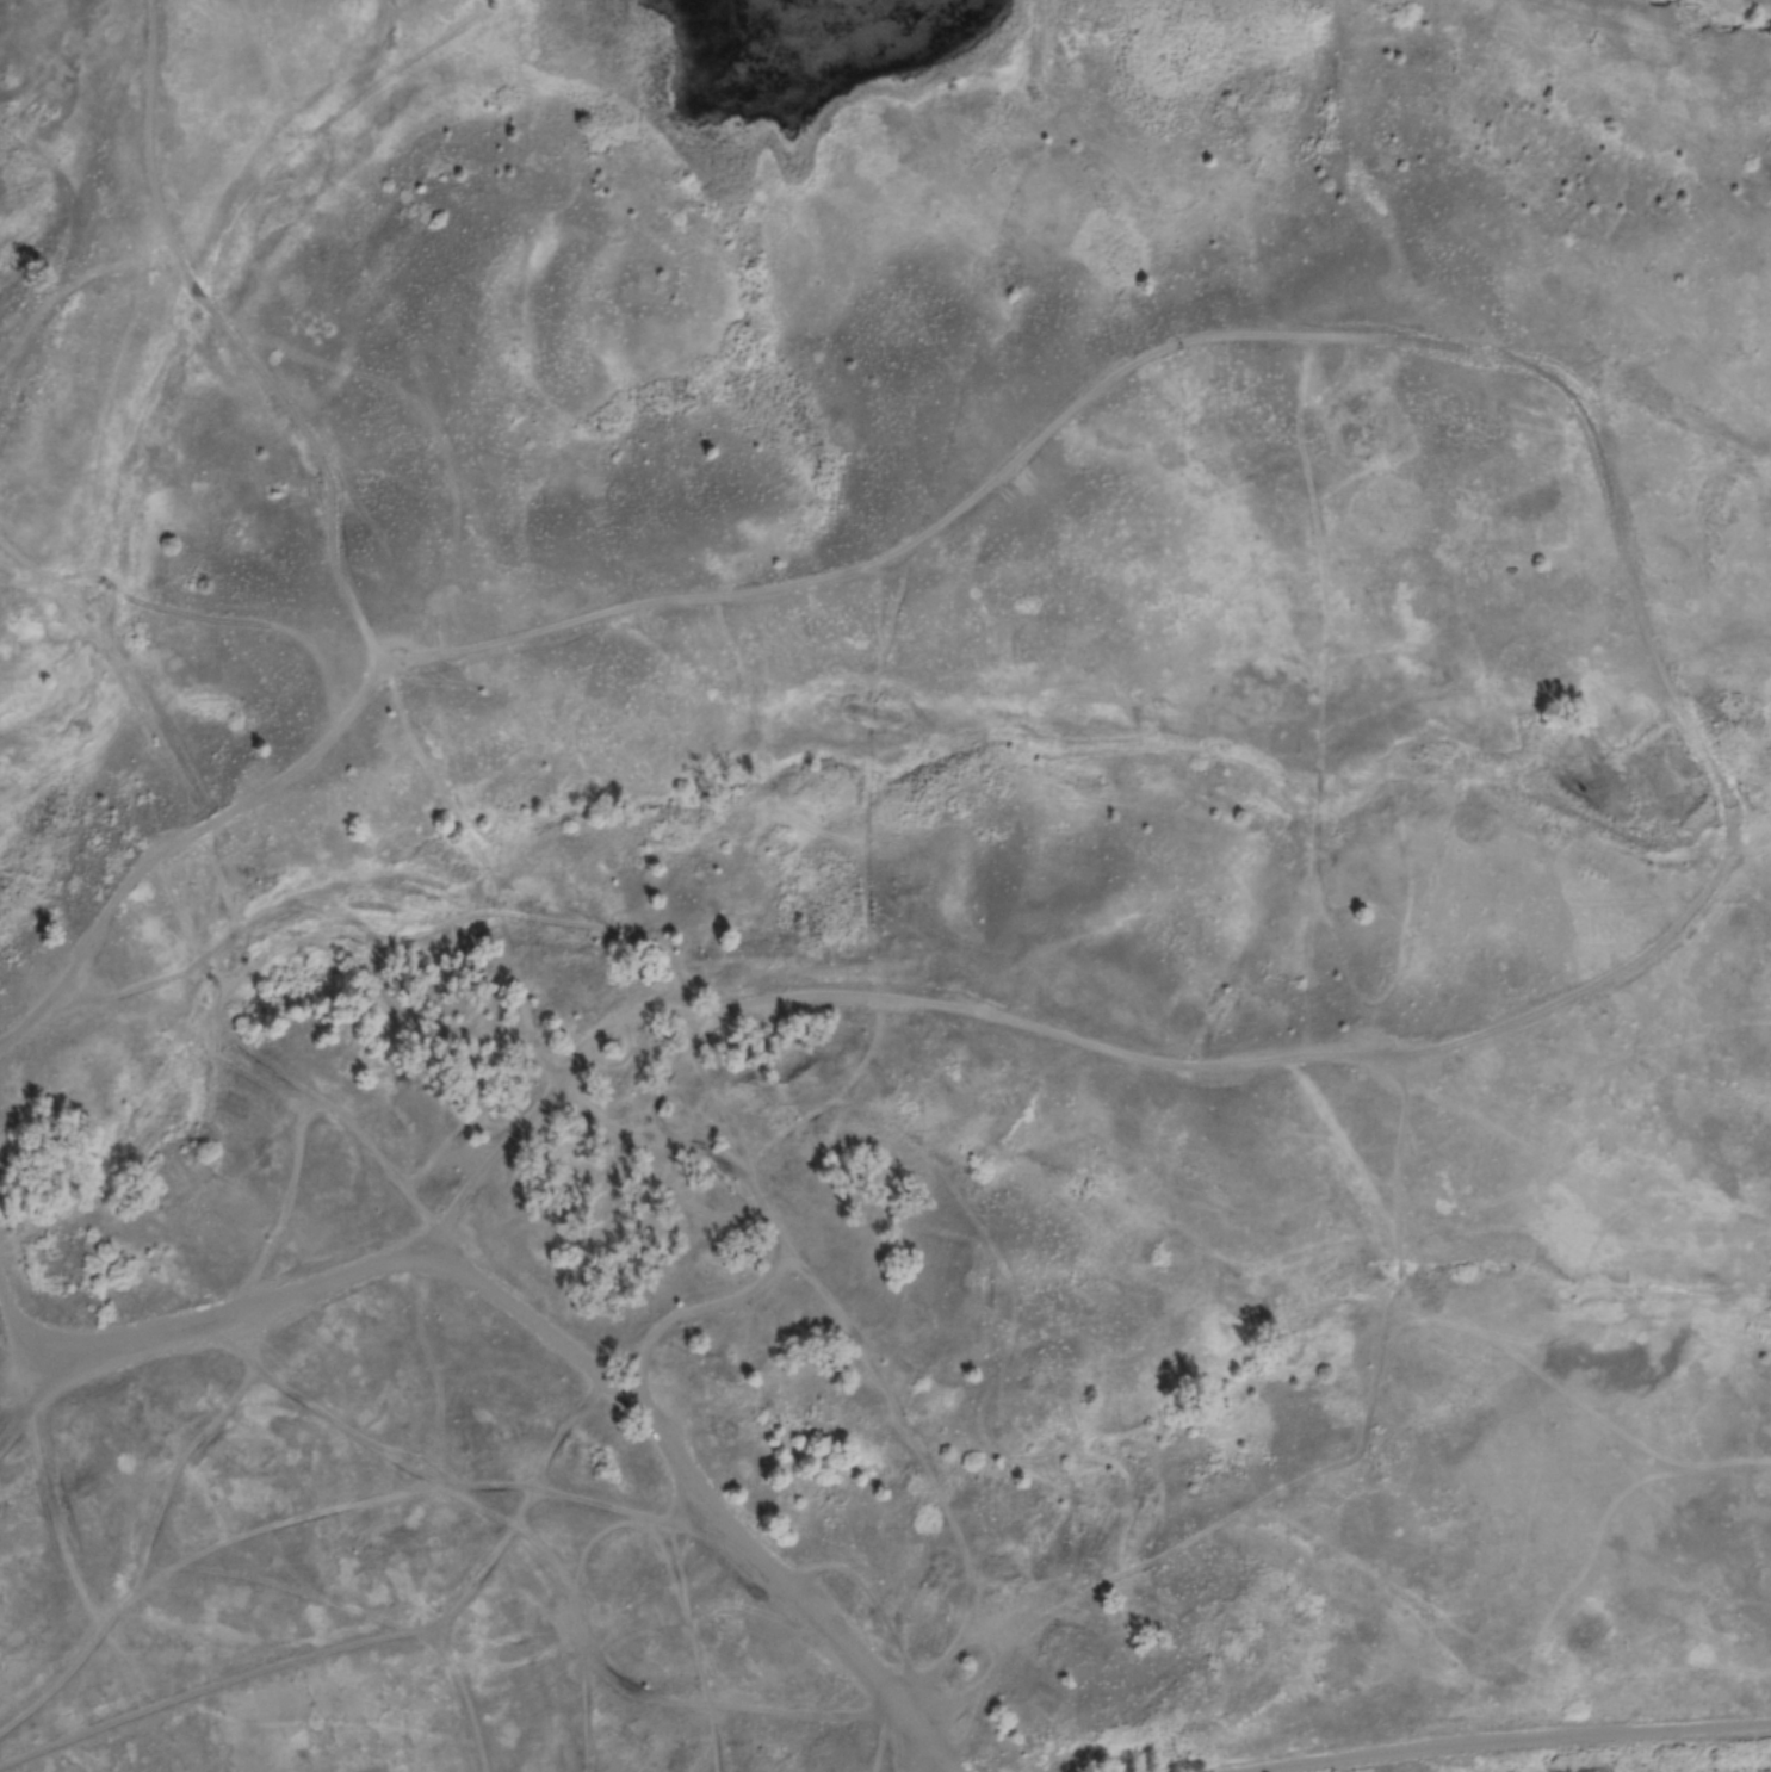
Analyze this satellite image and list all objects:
road: (1521, 1736)

